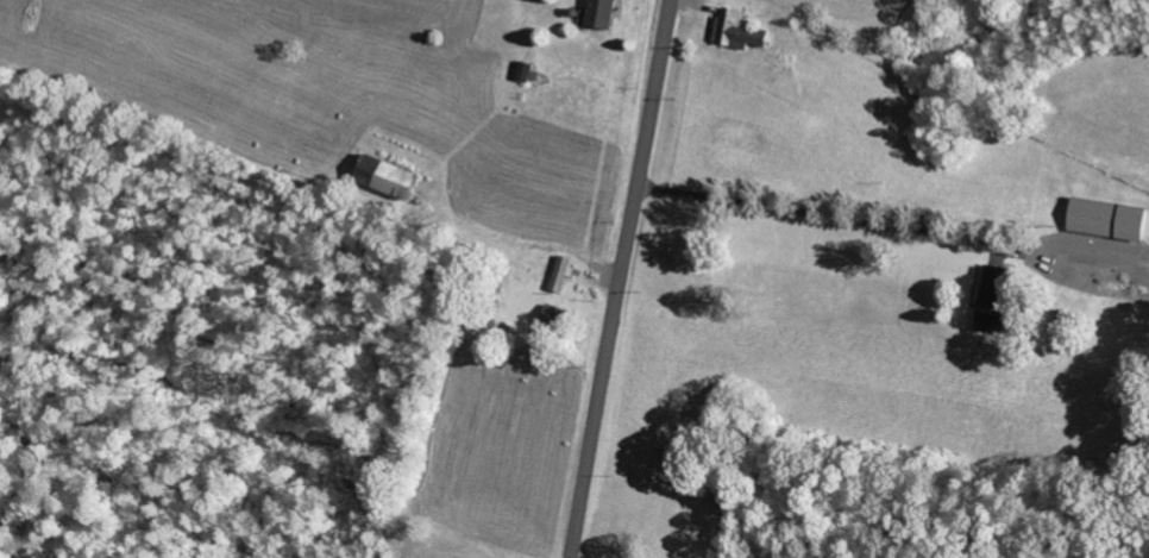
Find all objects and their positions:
road: (952, 2)
building: (602, 14)
road: (720, 30)
building: (740, 32)
building: (527, 73)
building: (390, 178)
building: (1110, 220)
building: (563, 274)
road: (619, 278)
building: (997, 300)
building: (553, 319)

